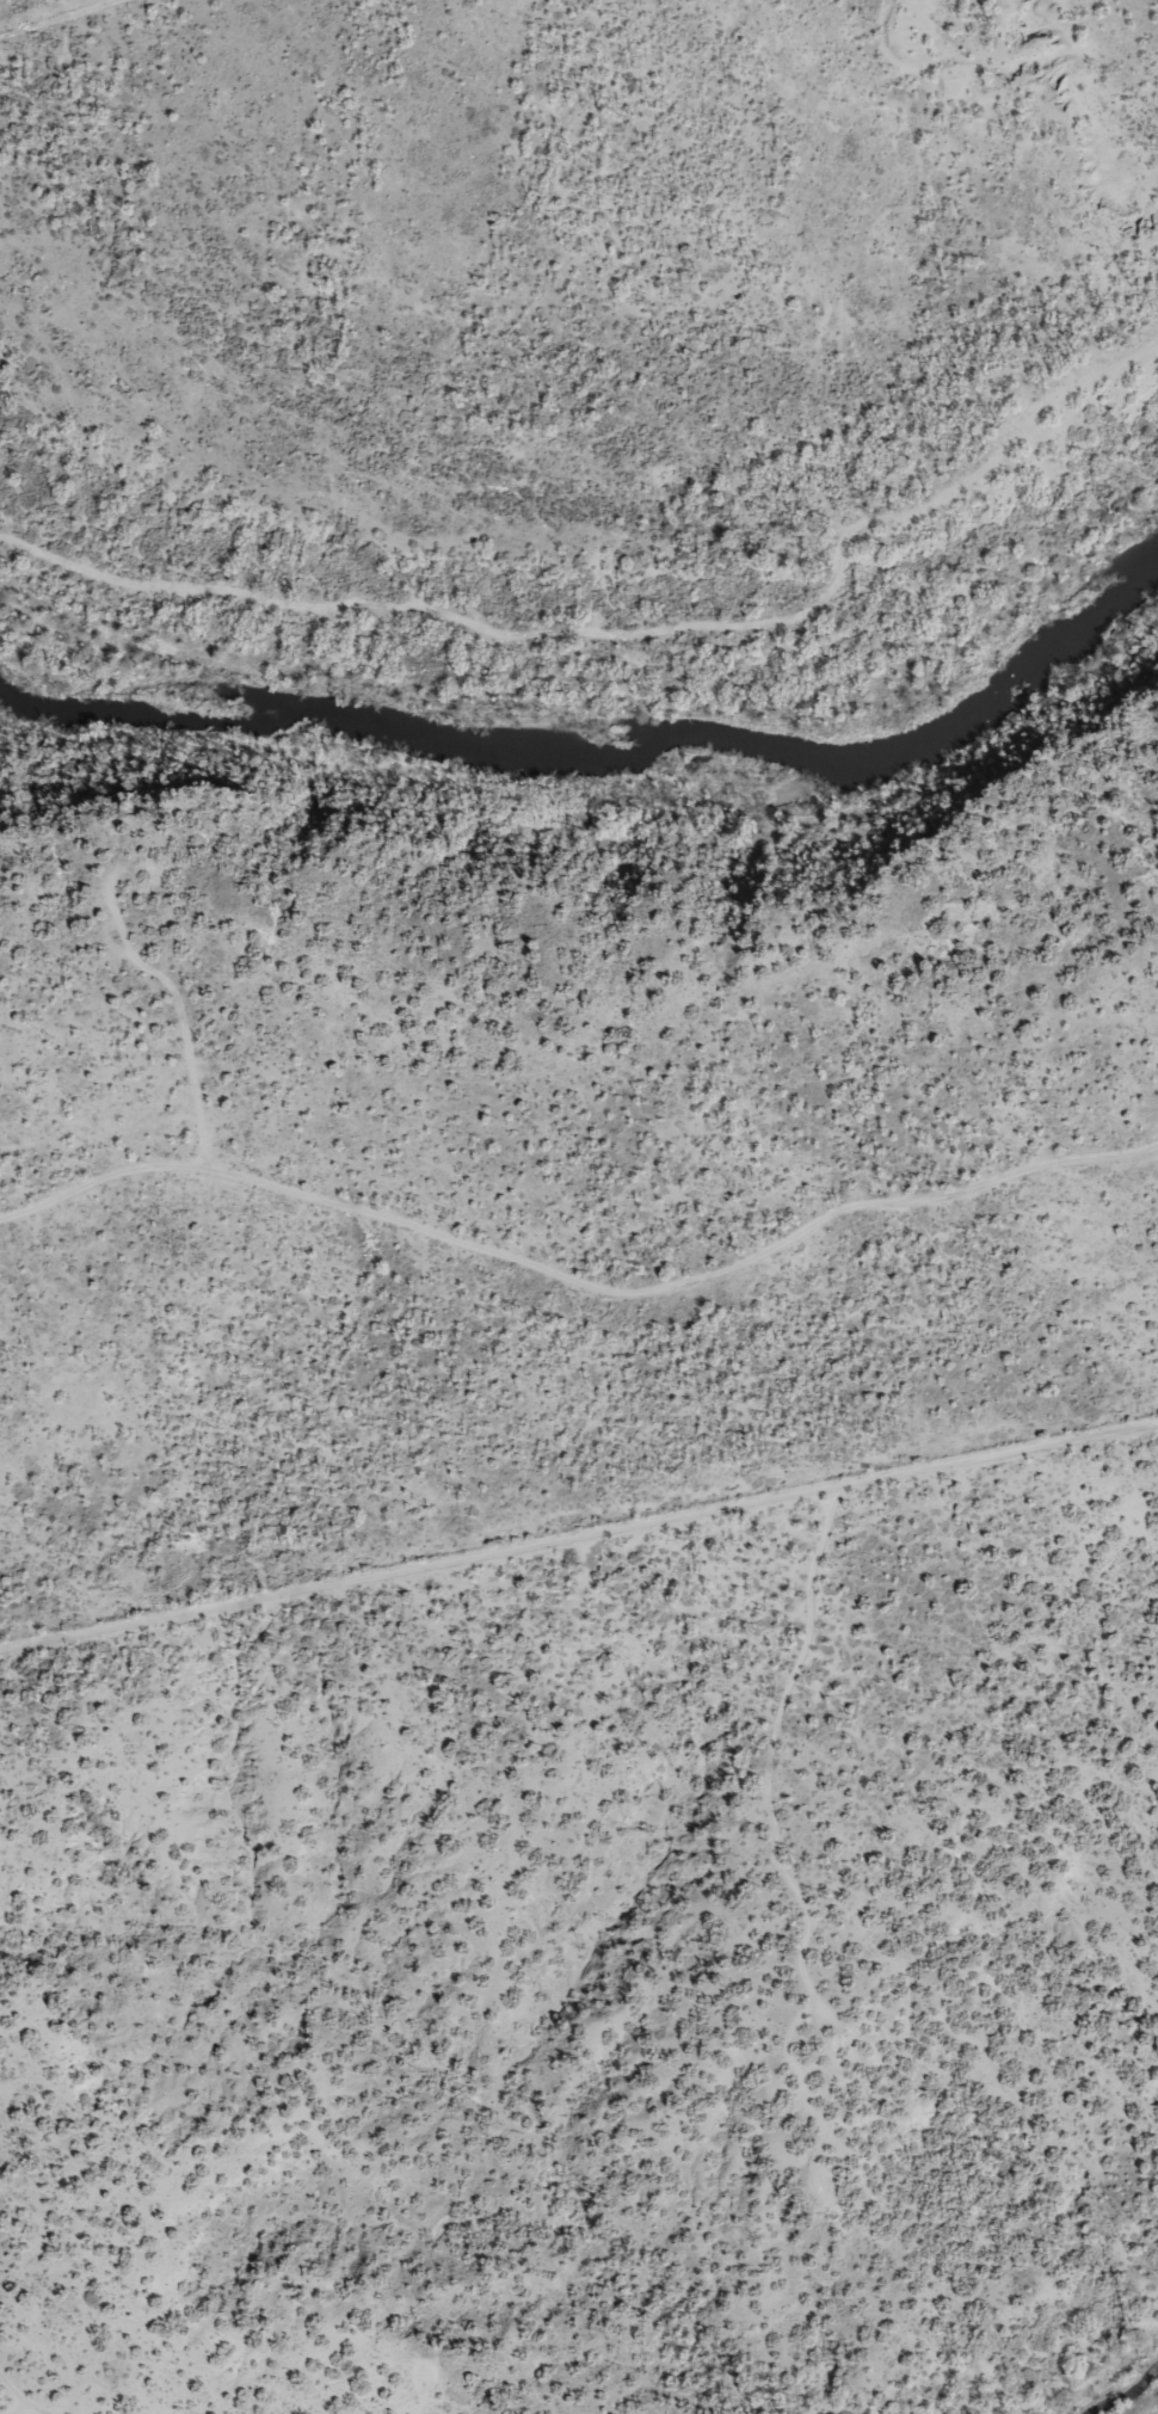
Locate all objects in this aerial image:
river: (615, 762)
river: (1125, 2388)

